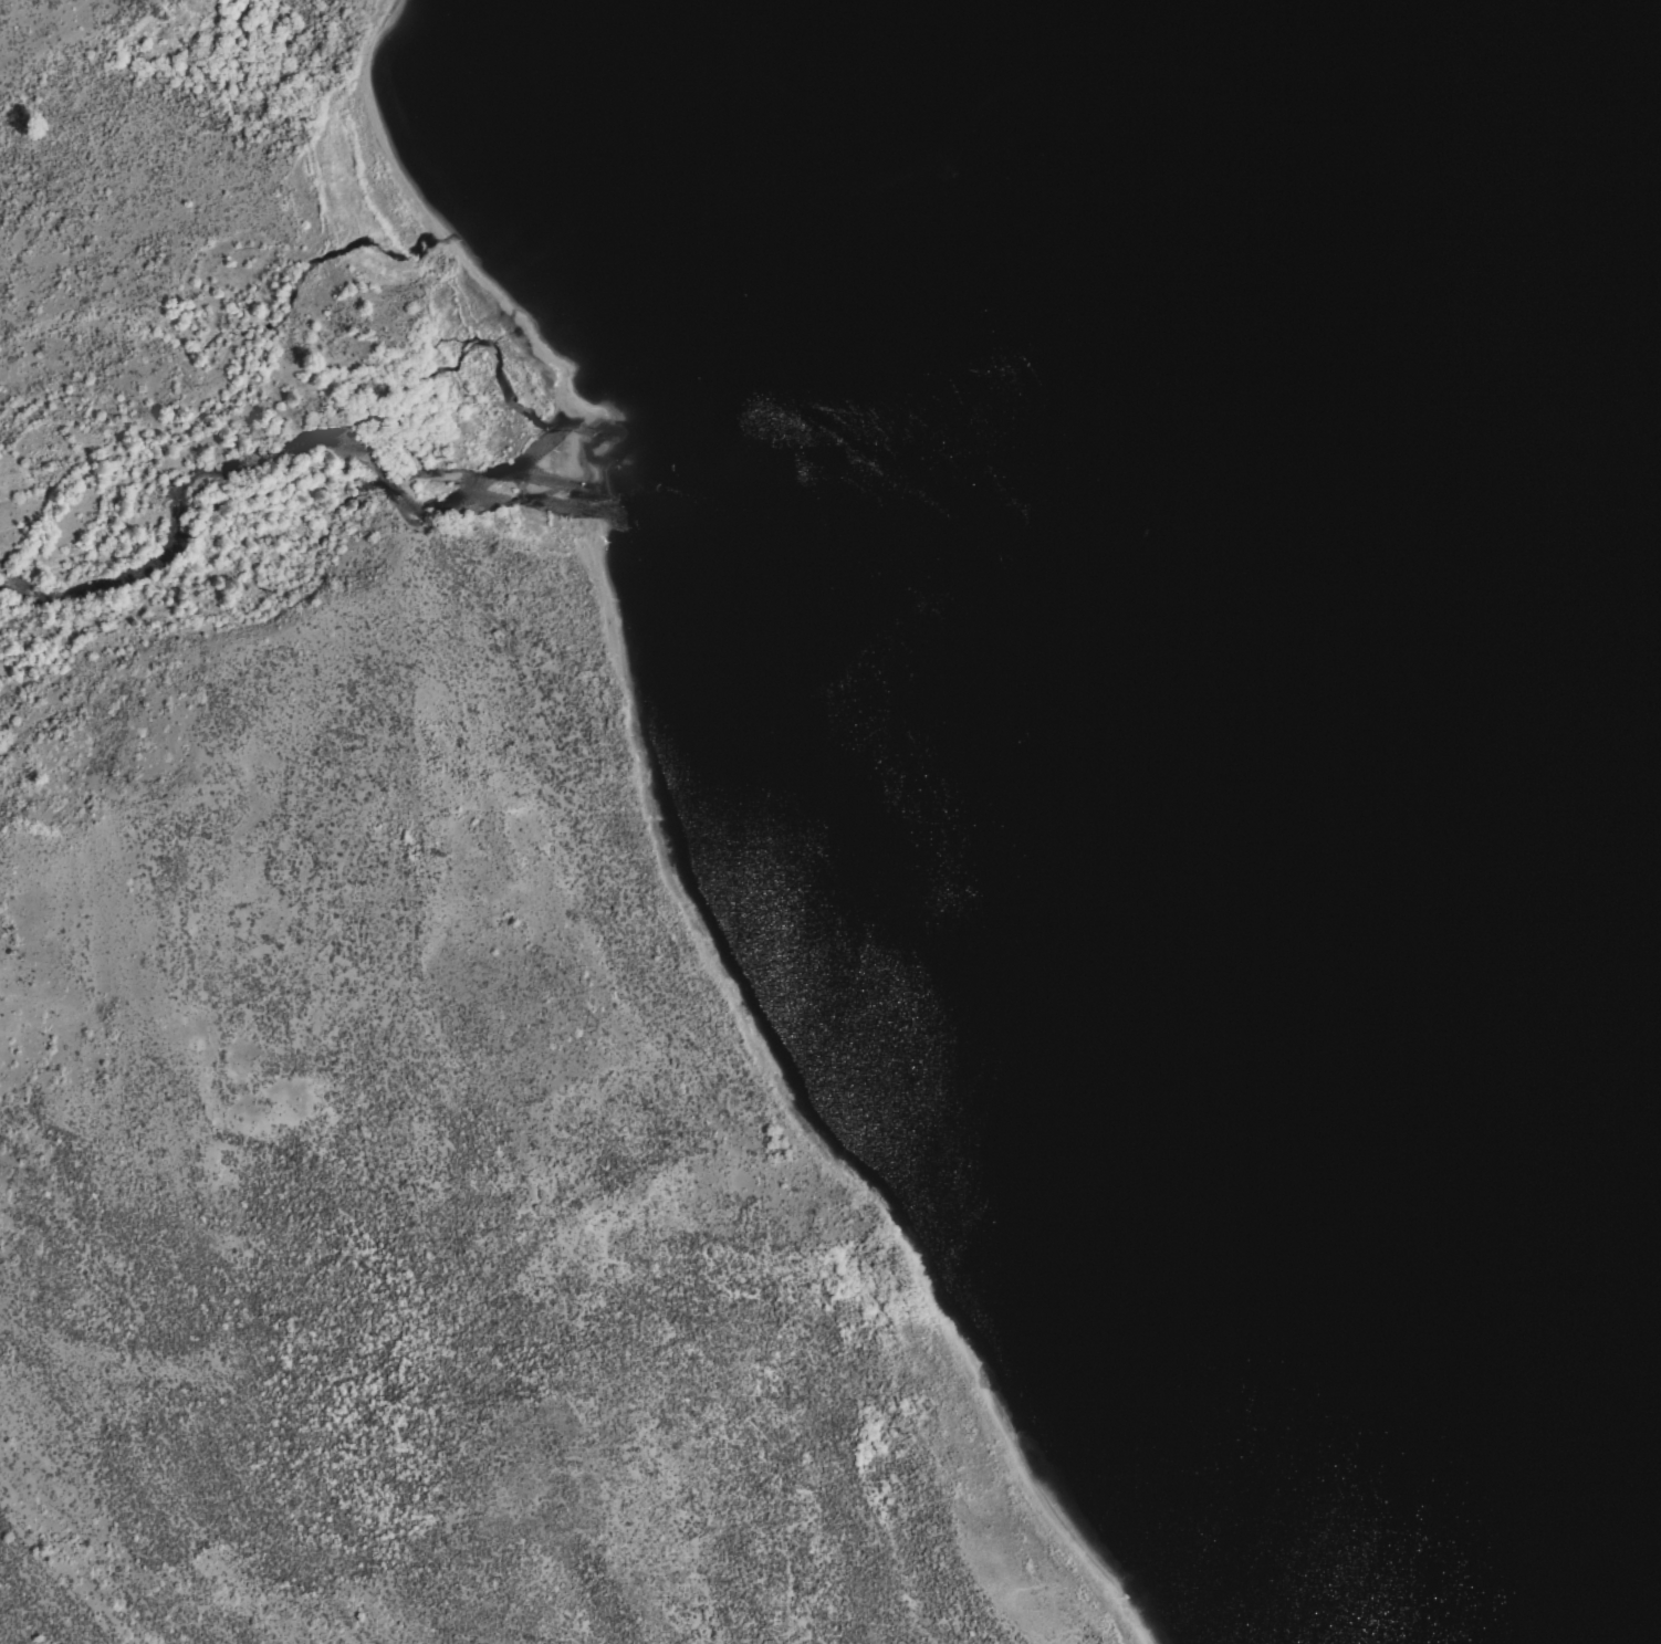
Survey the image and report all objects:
road: (43, 32)

